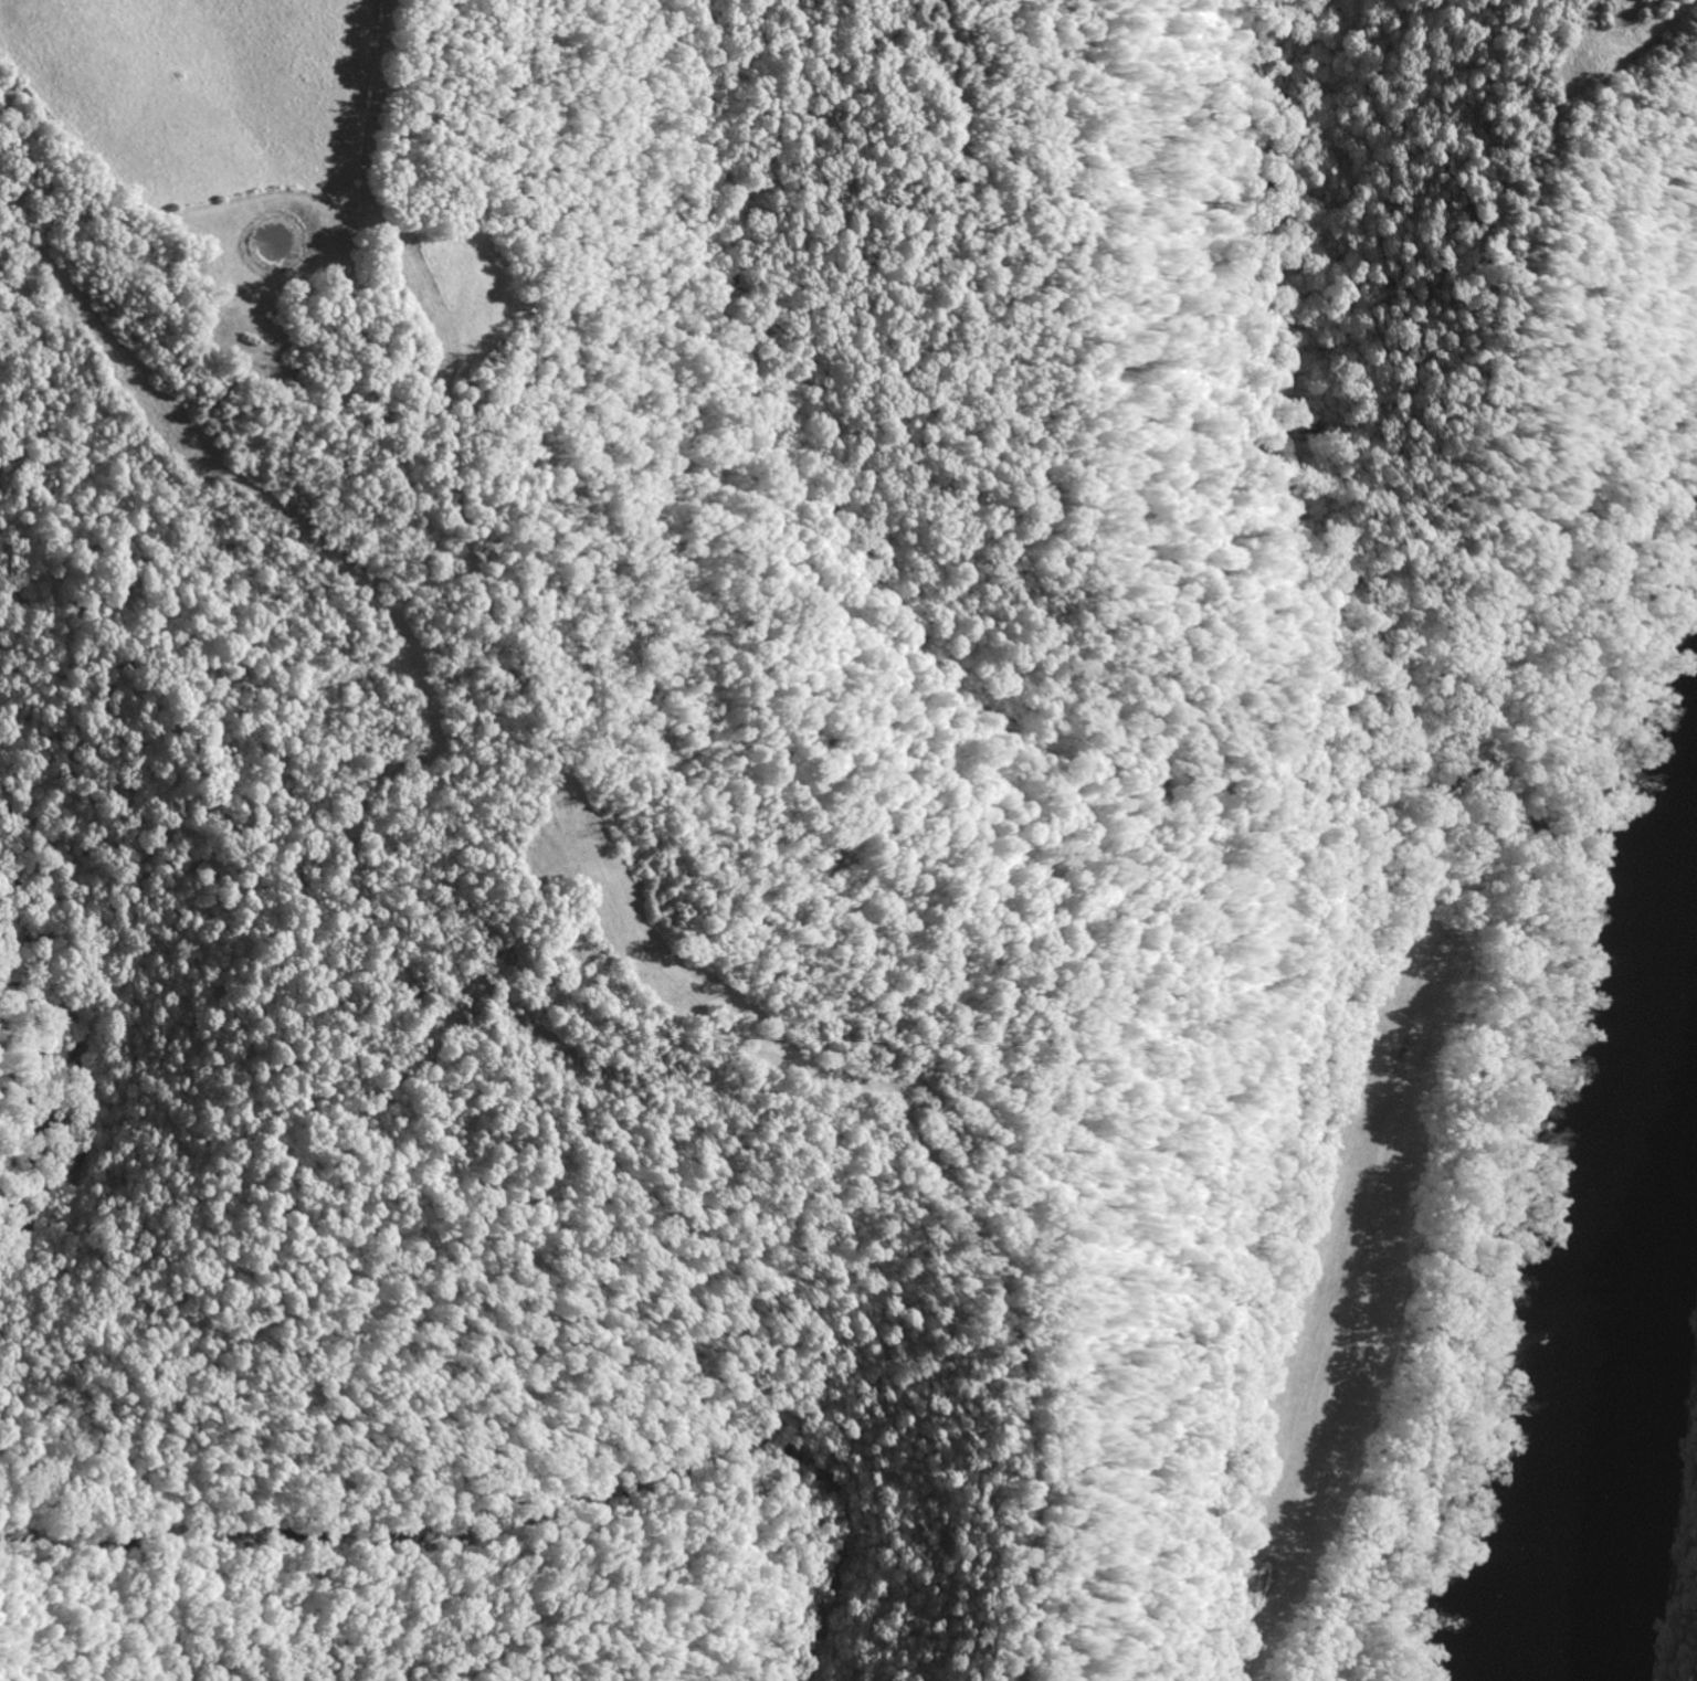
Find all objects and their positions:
river: (1627, 1296)

